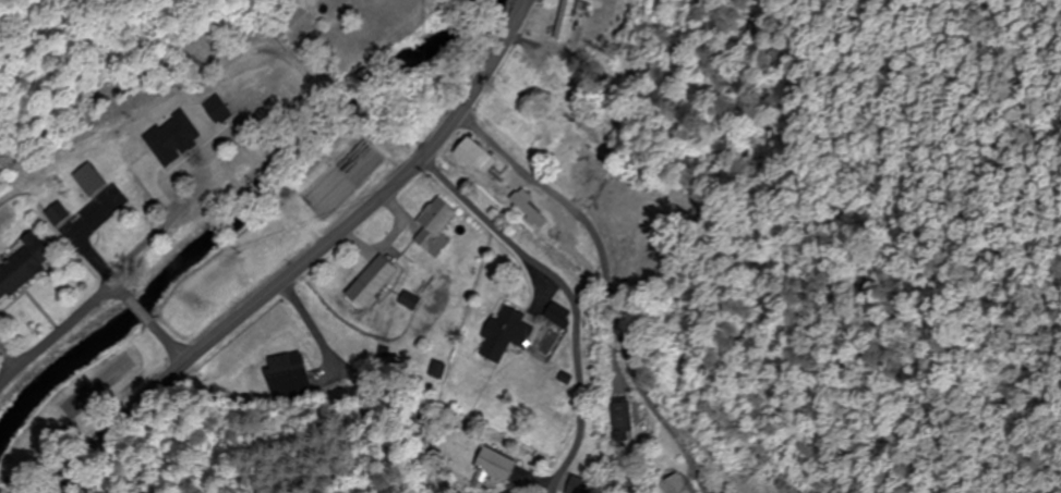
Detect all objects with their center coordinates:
building: (566, 21)
building: (554, 94)
building: (479, 157)
building: (582, 164)
building: (147, 172)
building: (88, 182)
building: (530, 210)
building: (437, 227)
road: (310, 257)
building: (574, 257)
building: (24, 268)
building: (375, 283)
road: (605, 284)
road: (93, 292)
building: (410, 301)
road: (556, 304)
building: (557, 315)
road: (147, 319)
building: (505, 335)
building: (290, 375)
building: (499, 466)
building: (582, 485)
building: (676, 485)

